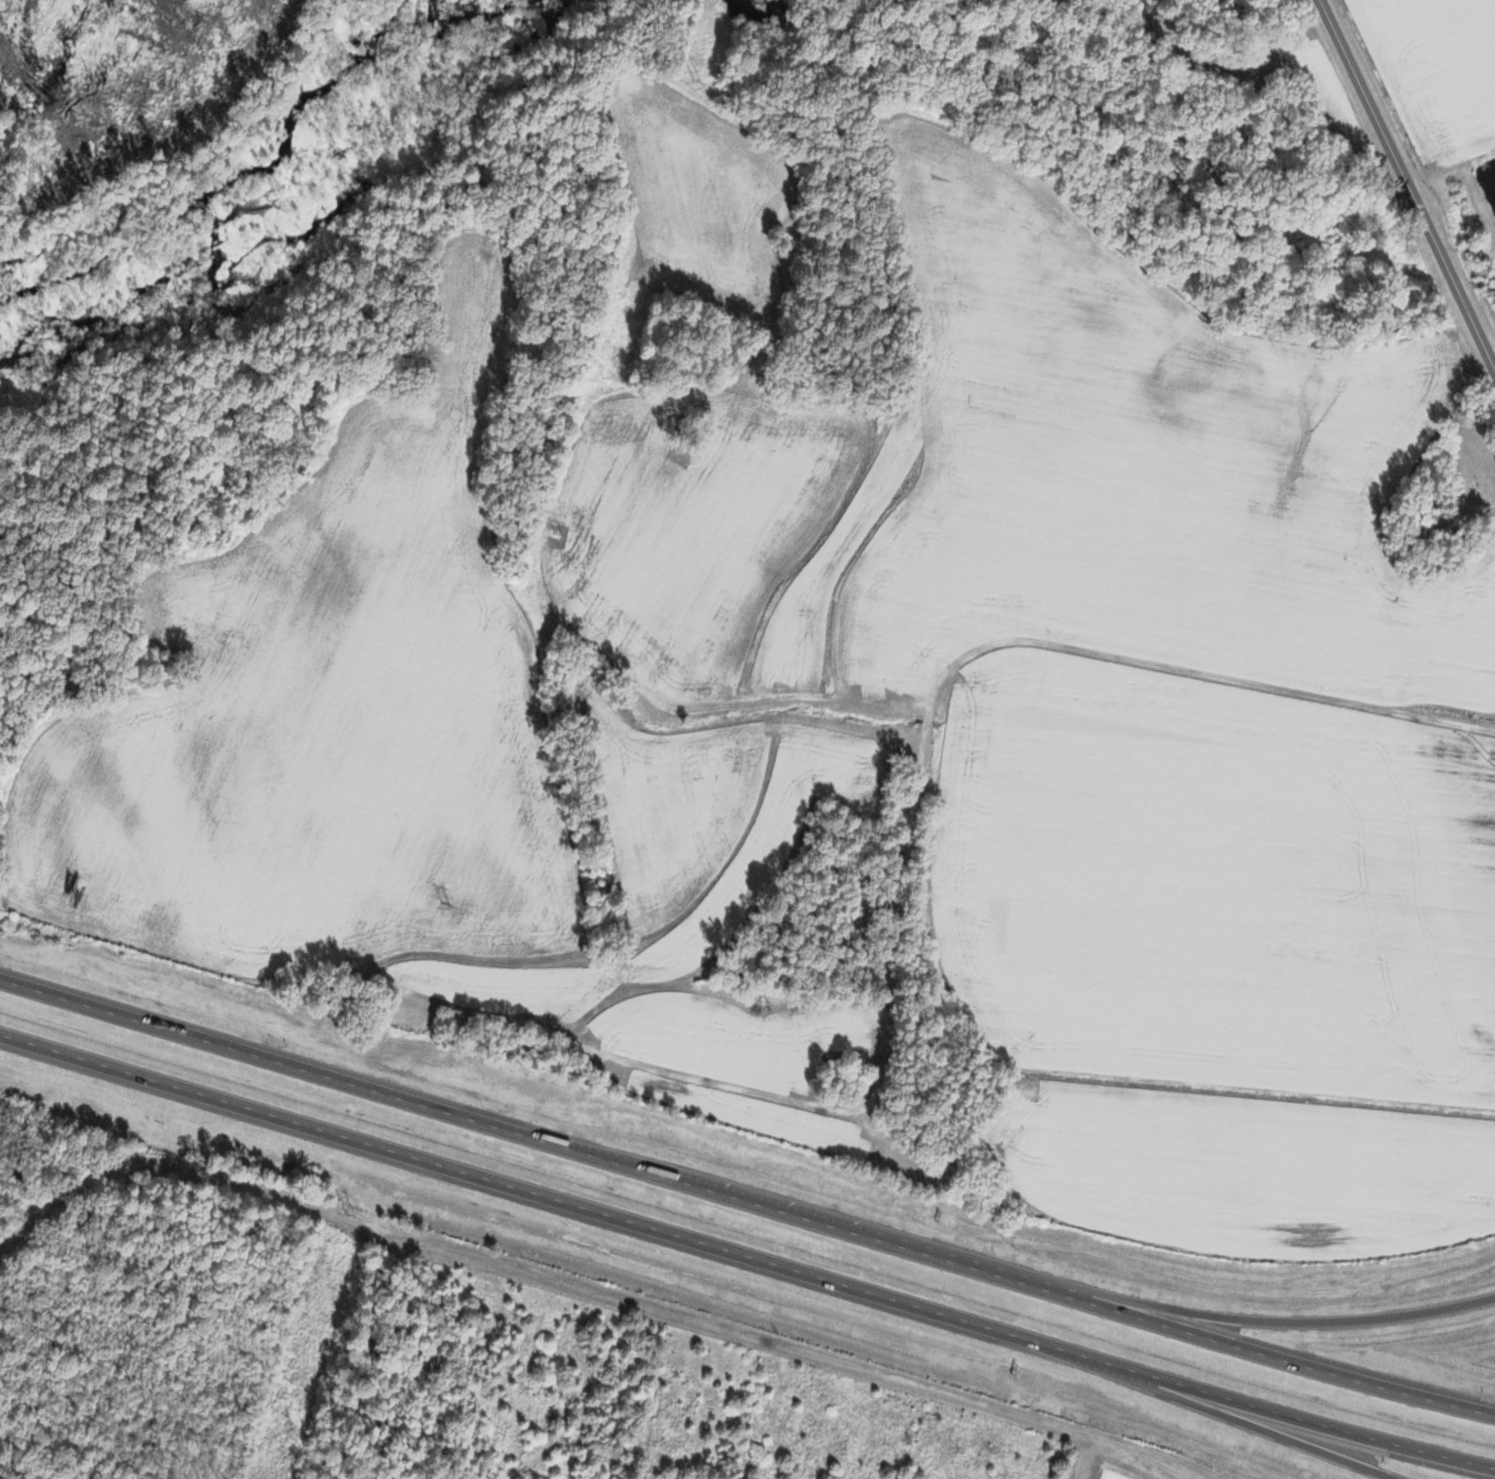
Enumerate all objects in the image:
power tower: (686, 81)
road: (1407, 184)
building: (1470, 466)
power tower: (558, 535)
power tower: (445, 904)
road: (747, 1199)
power tower: (346, 1217)
road: (746, 1255)
road: (1207, 1316)
road: (1095, 1370)

